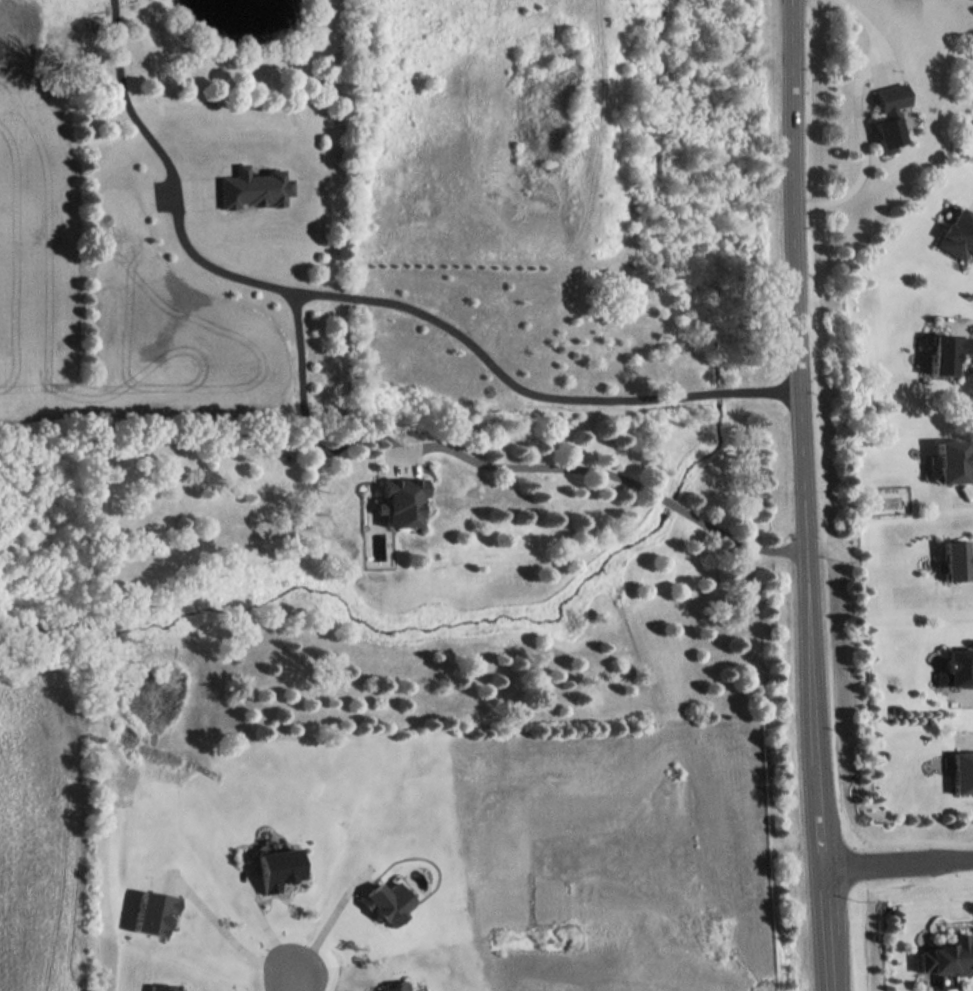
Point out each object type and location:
road: (124, 97)
building: (887, 115)
road: (856, 119)
building: (251, 187)
crop: (33, 229)
building: (957, 233)
crop: (193, 277)
road: (458, 336)
building: (945, 353)
road: (306, 422)
road: (797, 432)
building: (951, 461)
road: (619, 478)
building: (402, 501)
building: (955, 560)
building: (954, 668)
building: (962, 771)
road: (898, 860)
building: (275, 867)
building: (385, 902)
building: (153, 911)
road: (327, 913)
road: (264, 926)
road: (826, 928)
road: (228, 932)
road: (971, 943)
building: (944, 956)
road: (294, 978)
building: (391, 986)
building: (164, 987)

